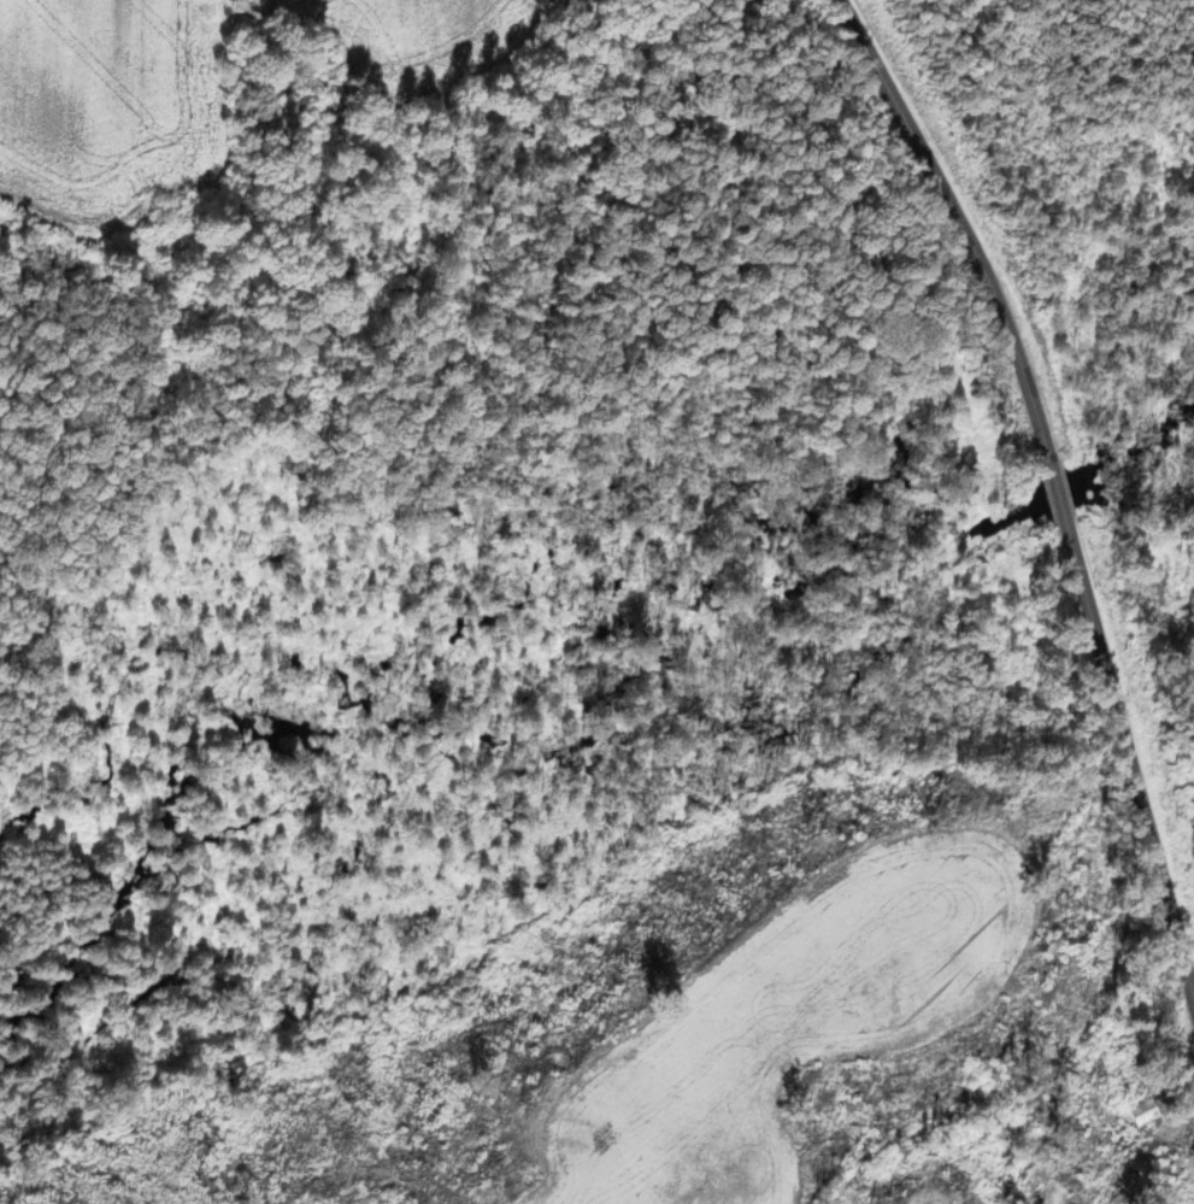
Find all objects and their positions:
road: (852, 20)
road: (971, 245)
road: (1059, 499)
road: (1131, 762)

